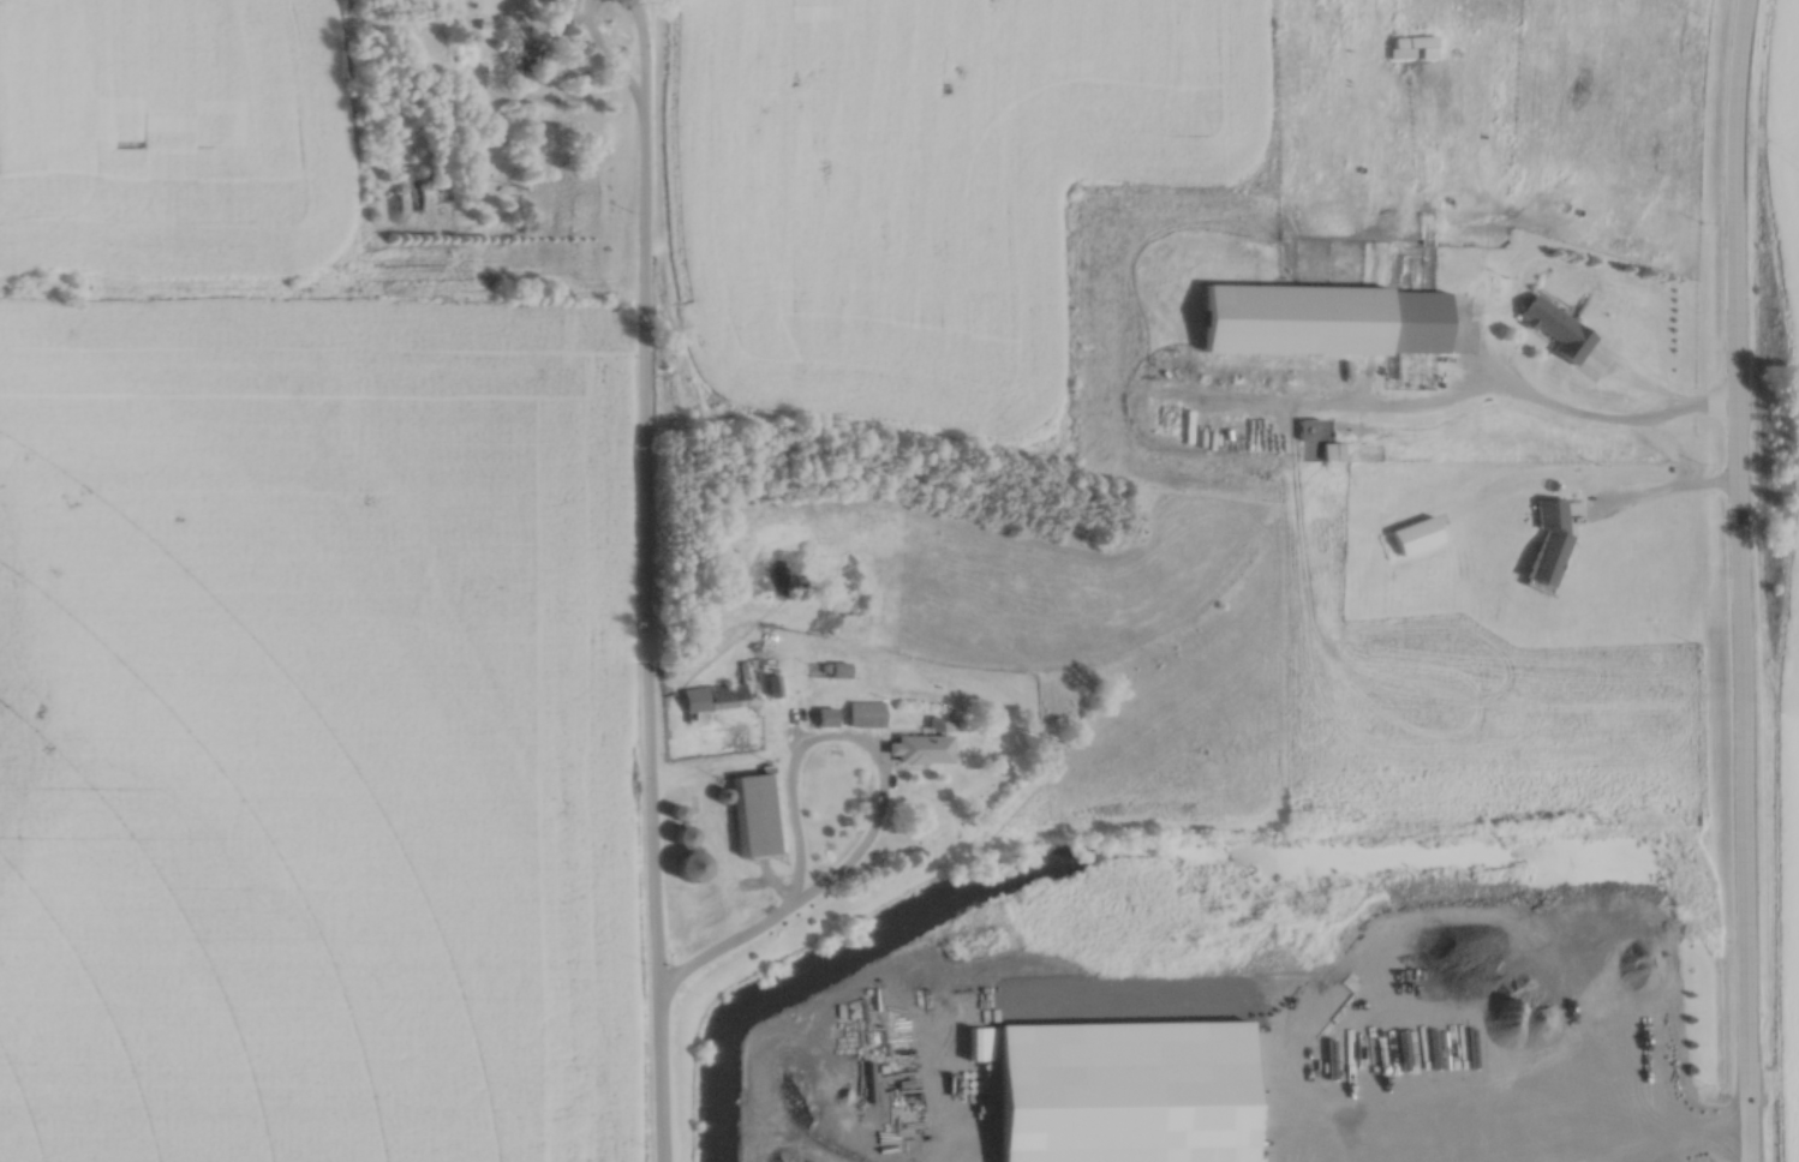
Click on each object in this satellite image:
building: (1411, 36)
building: (1416, 317)
building: (1554, 323)
building: (1082, 363)
road: (1598, 419)
building: (1332, 445)
building: (1417, 531)
building: (1548, 540)
road: (649, 580)
road: (1741, 580)
building: (838, 665)
building: (713, 693)
building: (865, 708)
building: (921, 744)
road: (875, 751)
building: (755, 810)
building: (692, 861)
road: (733, 946)
road: (1603, 1137)

